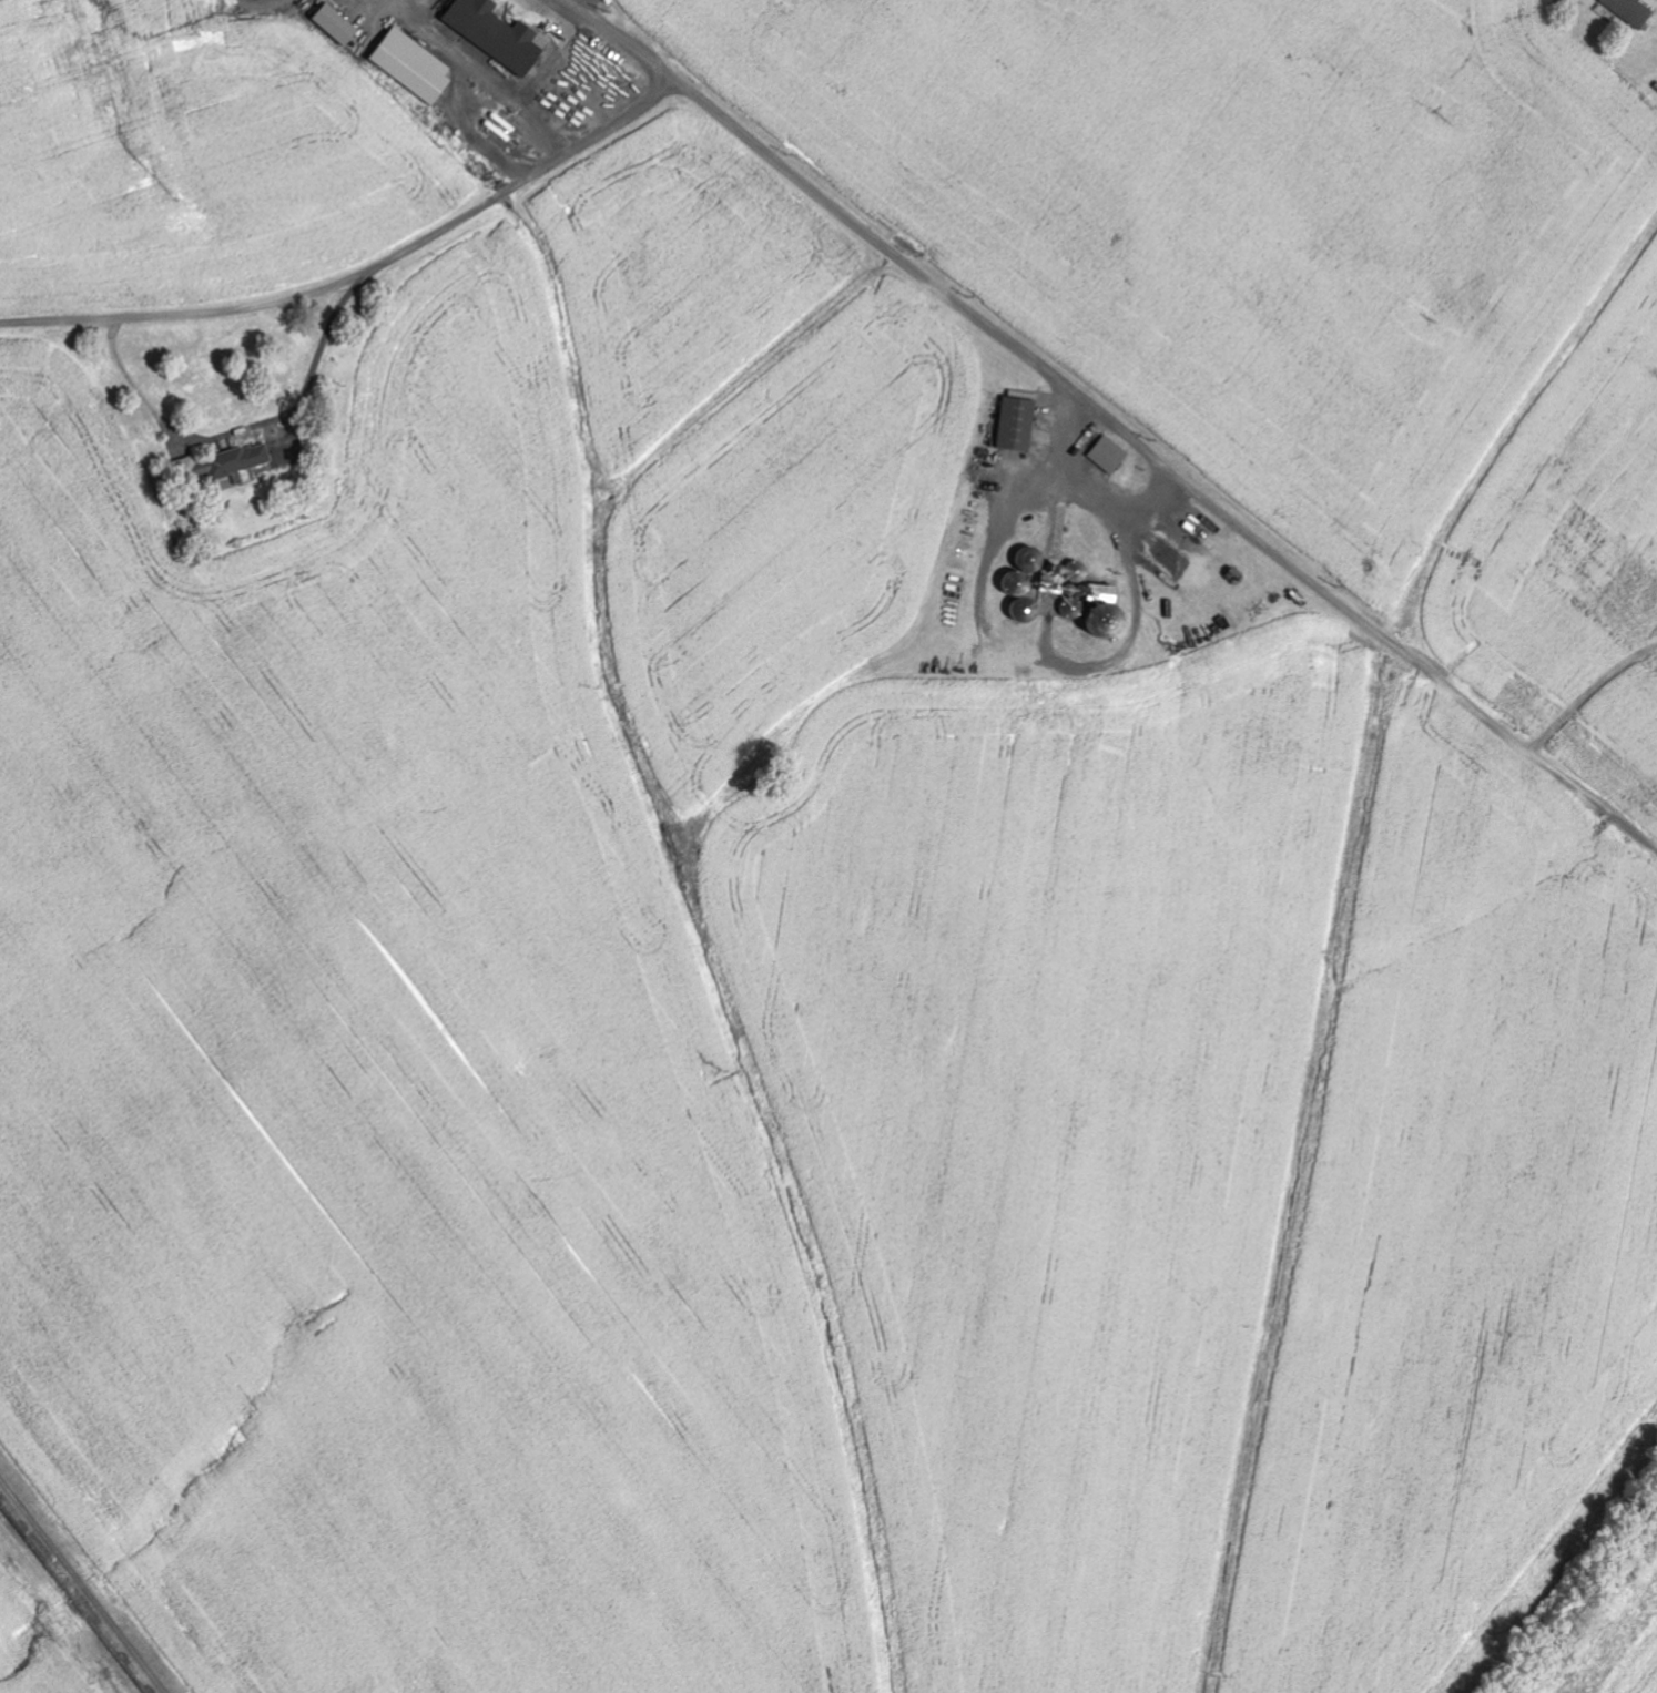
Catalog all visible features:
building: (1631, 11)
building: (337, 23)
building: (497, 33)
building: (414, 65)
road: (362, 274)
road: (1112, 424)
road: (242, 425)
building: (1018, 425)
building: (1109, 455)
building: (235, 462)
building: (243, 478)

